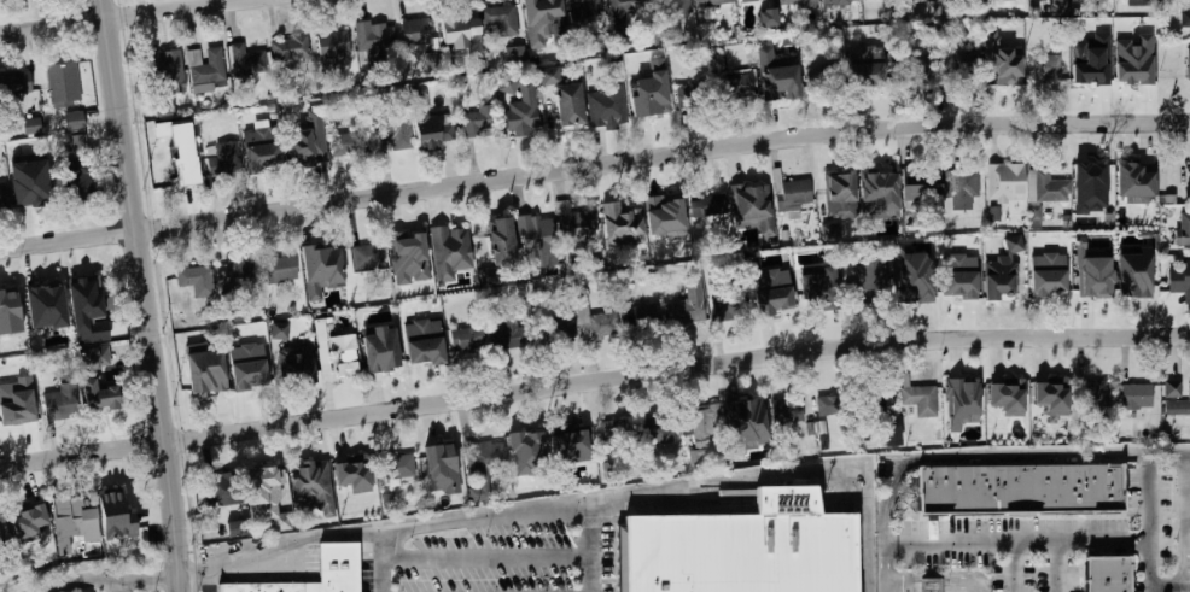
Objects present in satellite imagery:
building: (751, 0)
building: (838, 1)
building: (711, 2)
building: (800, 4)
building: (624, 6)
building: (671, 6)
building: (539, 13)
building: (584, 13)
road: (117, 16)
building: (768, 17)
building: (1188, 17)
building: (498, 19)
building: (455, 23)
building: (1144, 31)
building: (414, 33)
building: (371, 35)
building: (332, 45)
building: (287, 48)
building: (515, 55)
building: (245, 60)
building: (433, 60)
building: (1131, 64)
building: (1188, 64)
building: (163, 65)
building: (203, 65)
building: (958, 68)
building: (1044, 68)
building: (1093, 68)
building: (1002, 69)
building: (910, 71)
building: (864, 74)
building: (547, 75)
building: (821, 78)
building: (508, 83)
building: (62, 84)
building: (737, 84)
building: (778, 84)
building: (12, 86)
building: (693, 95)
building: (649, 101)
building: (567, 105)
building: (603, 110)
building: (72, 121)
building: (523, 122)
building: (473, 123)
building: (33, 124)
building: (392, 131)
building: (434, 131)
building: (349, 143)
building: (304, 147)
building: (261, 153)
building: (226, 158)
building: (171, 163)
road: (593, 163)
building: (75, 178)
building: (1093, 178)
building: (1004, 182)
building: (1133, 182)
building: (920, 183)
building: (877, 186)
building: (961, 187)
building: (1043, 187)
building: (834, 189)
building: (27, 195)
building: (792, 195)
building: (2, 198)
building: (749, 198)
building: (707, 207)
building: (1034, 216)
building: (661, 217)
building: (620, 218)
building: (577, 225)
building: (832, 230)
building: (1189, 230)
building: (537, 235)
building: (501, 241)
building: (404, 247)
building: (454, 248)
building: (366, 256)
building: (320, 262)
building: (279, 269)
building: (239, 272)
building: (999, 274)
building: (1138, 274)
building: (489, 275)
building: (771, 277)
building: (194, 280)
building: (868, 280)
building: (1096, 280)
building: (1179, 280)
building: (1046, 281)
building: (962, 283)
building: (915, 287)
building: (87, 289)
building: (813, 293)
road: (144, 295)
building: (775, 298)
building: (688, 304)
building: (8, 305)
building: (47, 306)
building: (724, 309)
building: (644, 318)
building: (595, 323)
building: (422, 327)
building: (555, 329)
building: (278, 330)
building: (506, 333)
building: (523, 335)
building: (232, 336)
building: (426, 336)
building: (460, 339)
building: (328, 347)
building: (426, 351)
building: (107, 353)
building: (378, 353)
building: (345, 368)
building: (253, 369)
building: (297, 369)
building: (208, 374)
road: (593, 381)
building: (1189, 383)
building: (1172, 388)
building: (104, 391)
building: (1091, 394)
building: (1049, 395)
building: (959, 397)
building: (1001, 397)
building: (1134, 397)
building: (870, 399)
building: (918, 399)
building: (58, 404)
building: (829, 405)
building: (1177, 406)
building: (18, 411)
building: (786, 411)
building: (743, 412)
building: (699, 420)
building: (653, 430)
building: (613, 433)
building: (892, 435)
building: (571, 442)
building: (523, 450)
building: (696, 456)
road: (981, 459)
building: (436, 462)
building: (483, 465)
building: (397, 468)
building: (345, 470)
building: (309, 477)
building: (267, 487)
building: (224, 488)
building: (1019, 490)
building: (119, 499)
road: (571, 502)
building: (71, 511)
building: (27, 514)
road: (1148, 518)
road: (1188, 522)
building: (238, 527)
building: (4, 533)
road: (1015, 538)
road: (587, 545)
building: (742, 547)
road: (483, 558)
road: (379, 561)
building: (337, 563)
road: (1010, 564)
road: (1057, 564)
building: (1106, 574)
road: (106, 579)
road: (1165, 582)
road: (208, 584)
building: (929, 585)
road: (121, 586)

